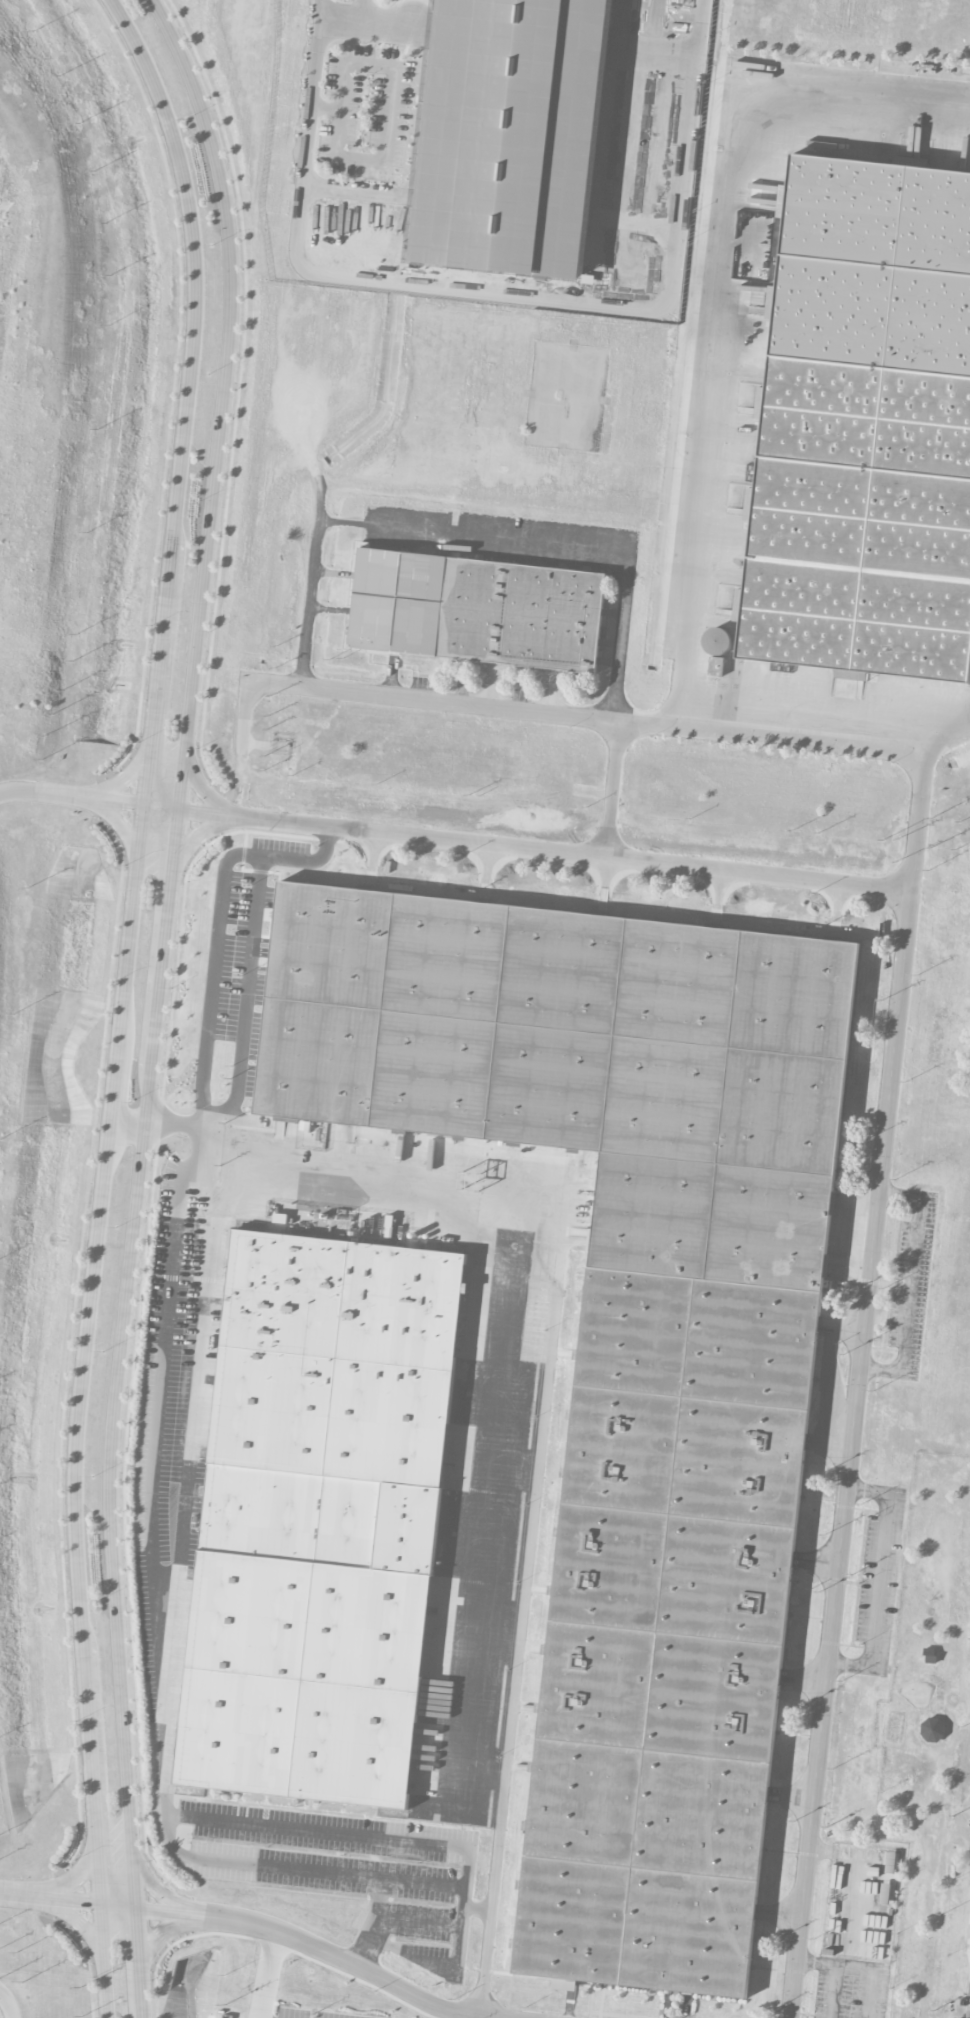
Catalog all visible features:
road: (349, 15)
road: (859, 104)
building: (508, 135)
road: (502, 295)
road: (711, 411)
building: (868, 426)
road: (586, 546)
road: (314, 578)
building: (399, 599)
building: (523, 613)
building: (717, 642)
road: (585, 718)
road: (947, 738)
road: (123, 777)
road: (200, 789)
road: (612, 791)
road: (120, 824)
road: (199, 832)
road: (456, 842)
road: (247, 853)
road: (251, 989)
road: (123, 1000)
road: (158, 1001)
road: (215, 1008)
road: (384, 1182)
road: (911, 1286)
building: (626, 1342)
road: (855, 1386)
building: (319, 1517)
road: (160, 1577)
road: (878, 1578)
road: (524, 1610)
road: (162, 1700)
building: (932, 1730)
road: (198, 1818)
building: (891, 1866)
road: (65, 1885)
road: (160, 1891)
road: (76, 1920)
road: (420, 1923)
road: (376, 1924)
road: (256, 1925)
road: (172, 1931)
road: (442, 1969)
road: (835, 1971)
road: (267, 1974)
road: (871, 1976)
building: (969, 1990)
road: (9, 2003)
building: (968, 2014)
road: (478, 2017)

